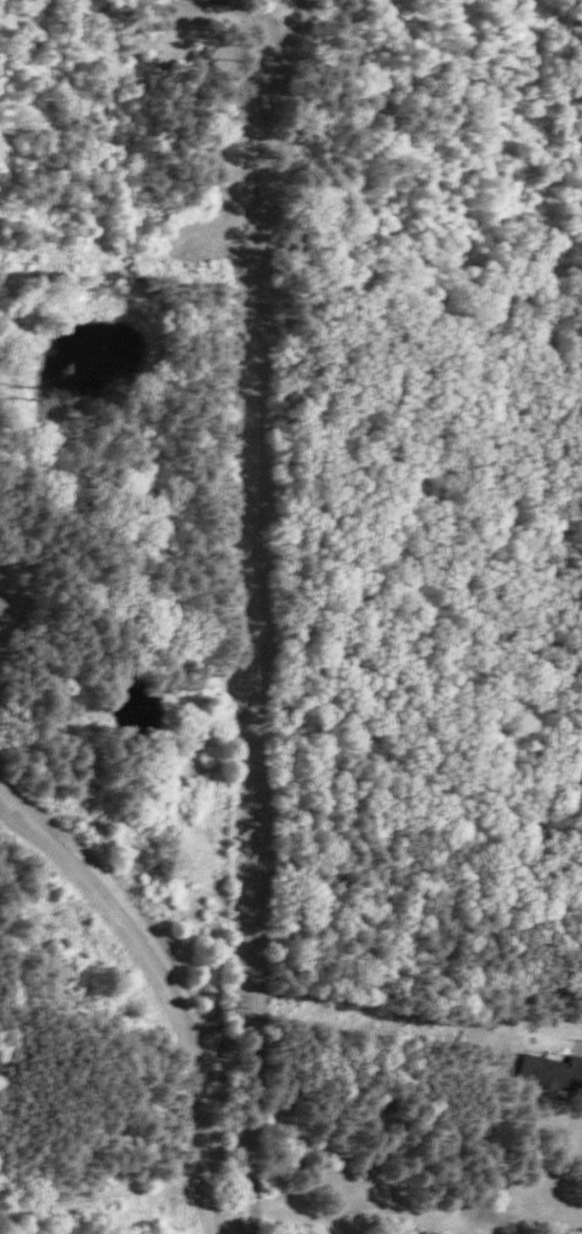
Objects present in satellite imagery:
building: (228, 0)
road: (165, 990)
building: (553, 1070)

